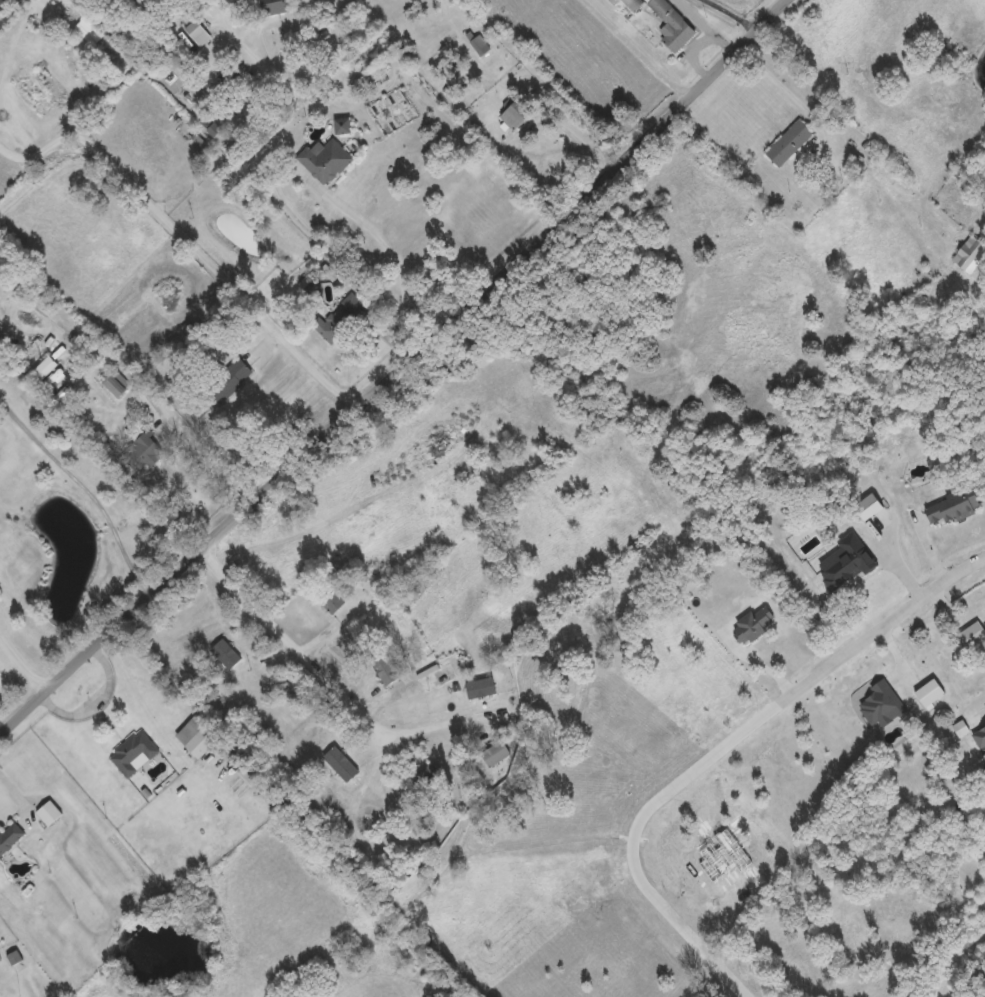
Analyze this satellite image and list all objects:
building: (2, 2)
building: (633, 3)
building: (271, 6)
road: (745, 11)
building: (672, 24)
building: (197, 31)
building: (479, 43)
road: (639, 50)
building: (514, 114)
building: (341, 125)
building: (788, 142)
road: (841, 146)
building: (325, 158)
road: (188, 232)
road: (388, 250)
building: (969, 253)
building: (340, 316)
building: (43, 366)
road: (398, 374)
building: (228, 378)
road: (151, 390)
building: (443, 419)
building: (141, 451)
road: (87, 488)
building: (328, 597)
building: (591, 644)
road: (300, 648)
building: (226, 655)
road: (23, 664)
building: (382, 665)
road: (96, 700)
road: (981, 708)
road: (447, 716)
building: (197, 735)
building: (485, 740)
building: (134, 751)
road: (719, 751)
building: (247, 772)
building: (426, 776)
road: (363, 783)
building: (49, 811)
building: (9, 832)
building: (396, 845)

